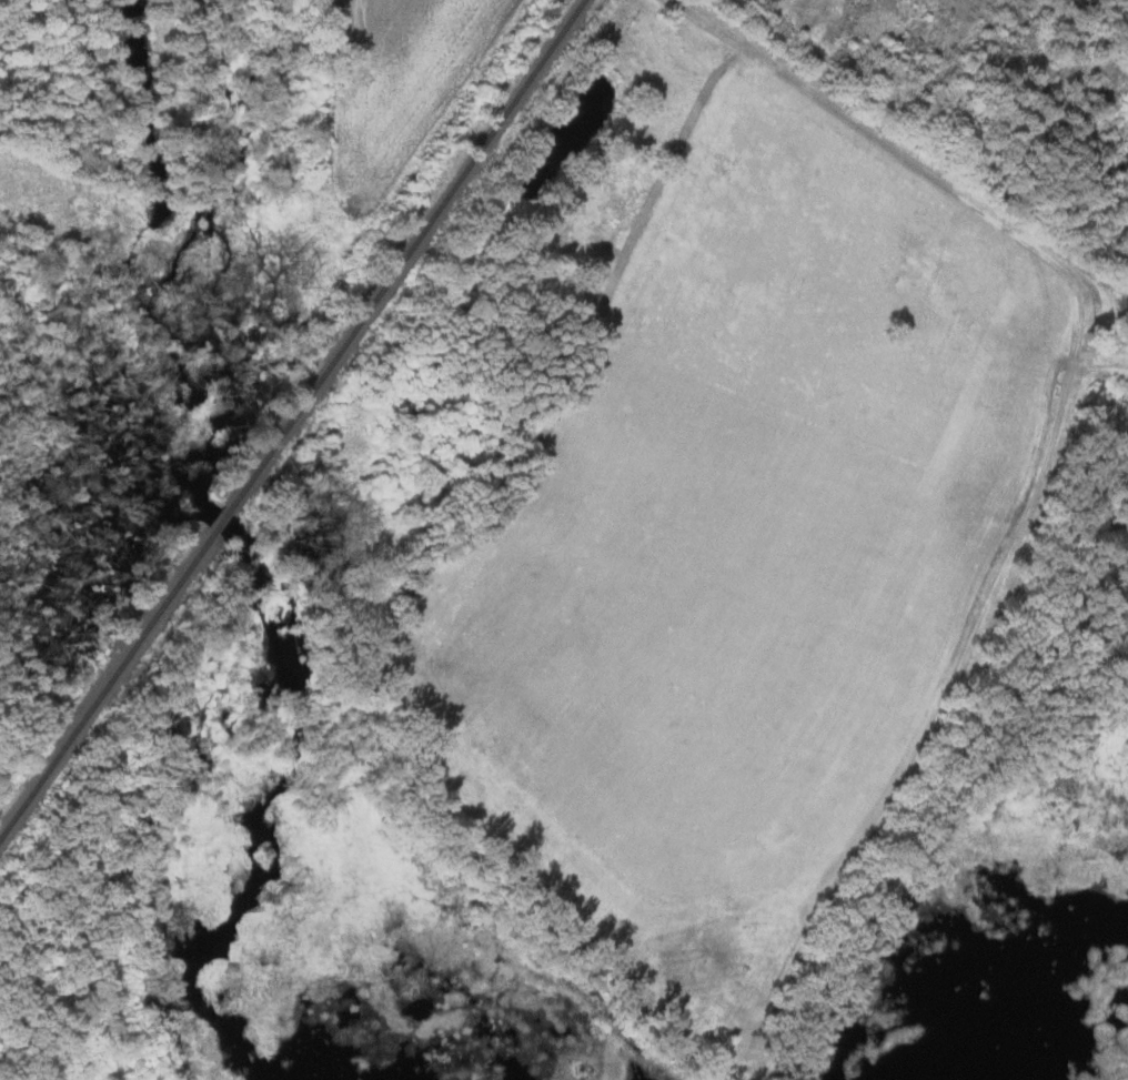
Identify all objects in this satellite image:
road: (604, 26)
railway: (410, 254)
power tower: (298, 272)
railway: (224, 519)
railway: (108, 685)

